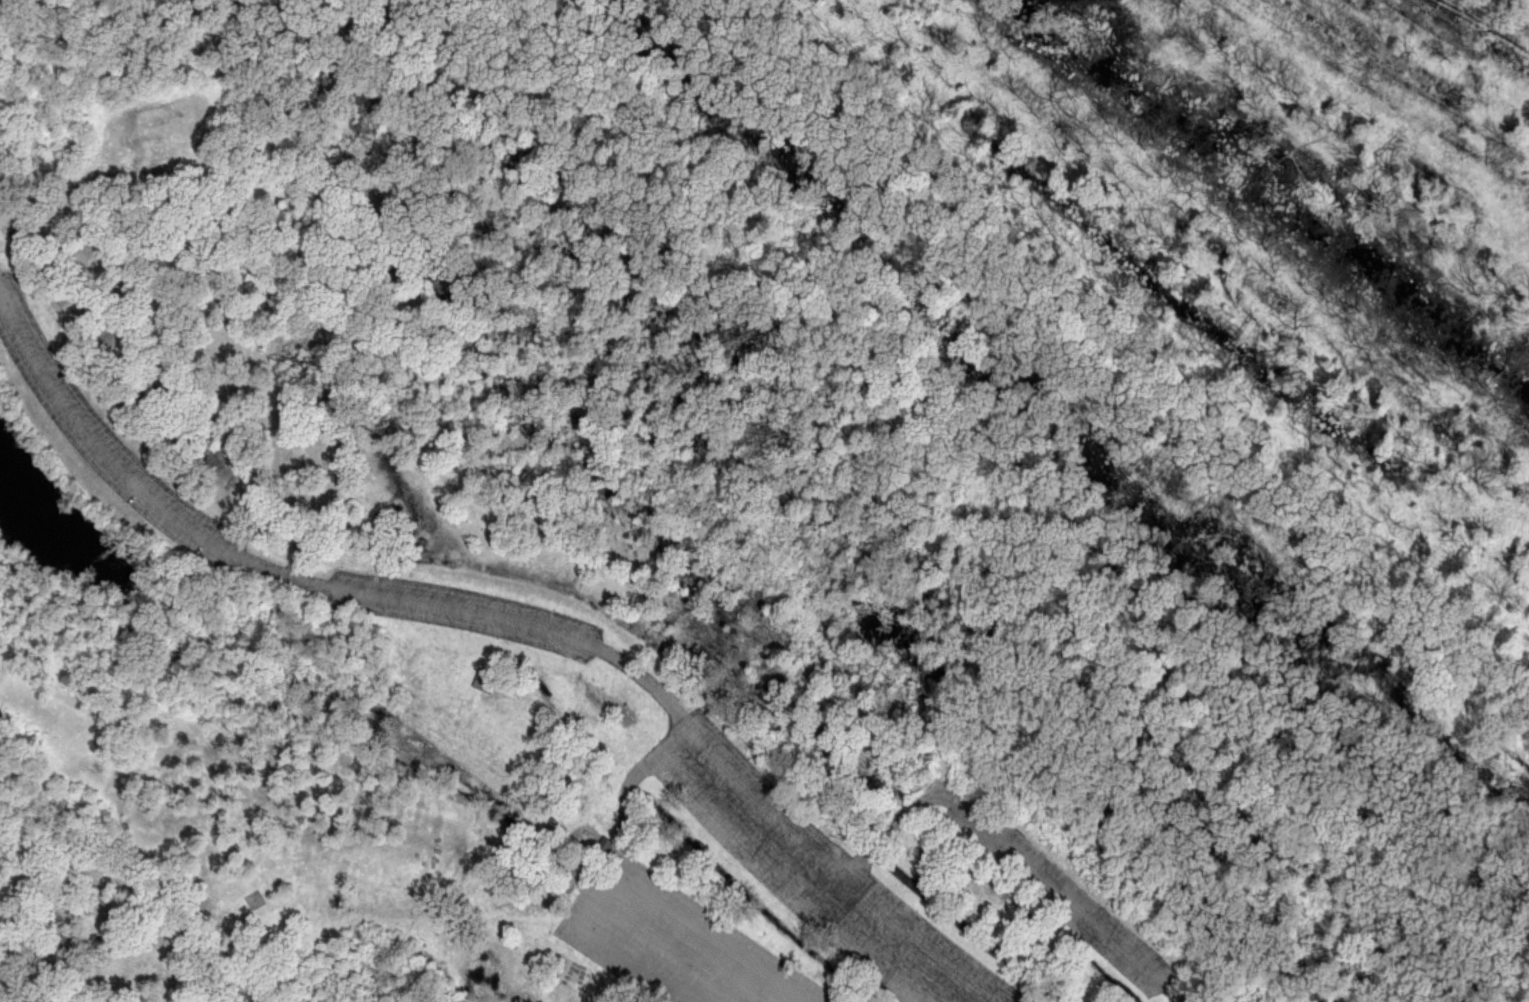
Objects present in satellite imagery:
parking lot: (107, 439)
road: (381, 595)
parking lot: (464, 610)
building: (482, 679)
road: (882, 839)
parking lot: (815, 869)
road: (837, 869)
road: (790, 881)
parking lot: (1061, 889)
road: (1060, 891)
road: (714, 934)
parking lot: (674, 940)
road: (603, 944)
road: (678, 948)
road: (1032, 948)
road: (1174, 991)
road: (910, 995)

